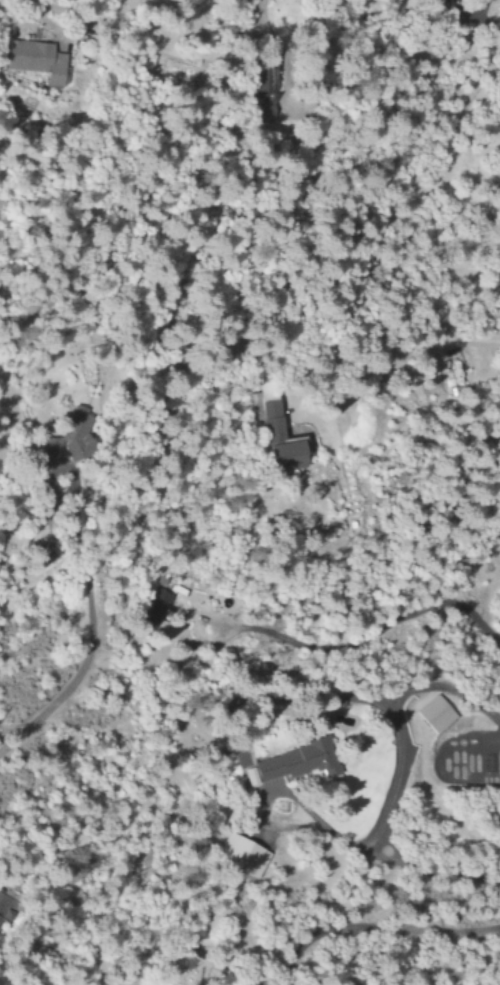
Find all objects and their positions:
building: (424, 0)
road: (27, 3)
road: (257, 17)
building: (37, 62)
building: (272, 86)
building: (77, 429)
building: (282, 441)
building: (47, 448)
building: (176, 588)
building: (162, 604)
road: (350, 643)
building: (436, 714)
building: (300, 765)
building: (252, 857)
road: (387, 858)

